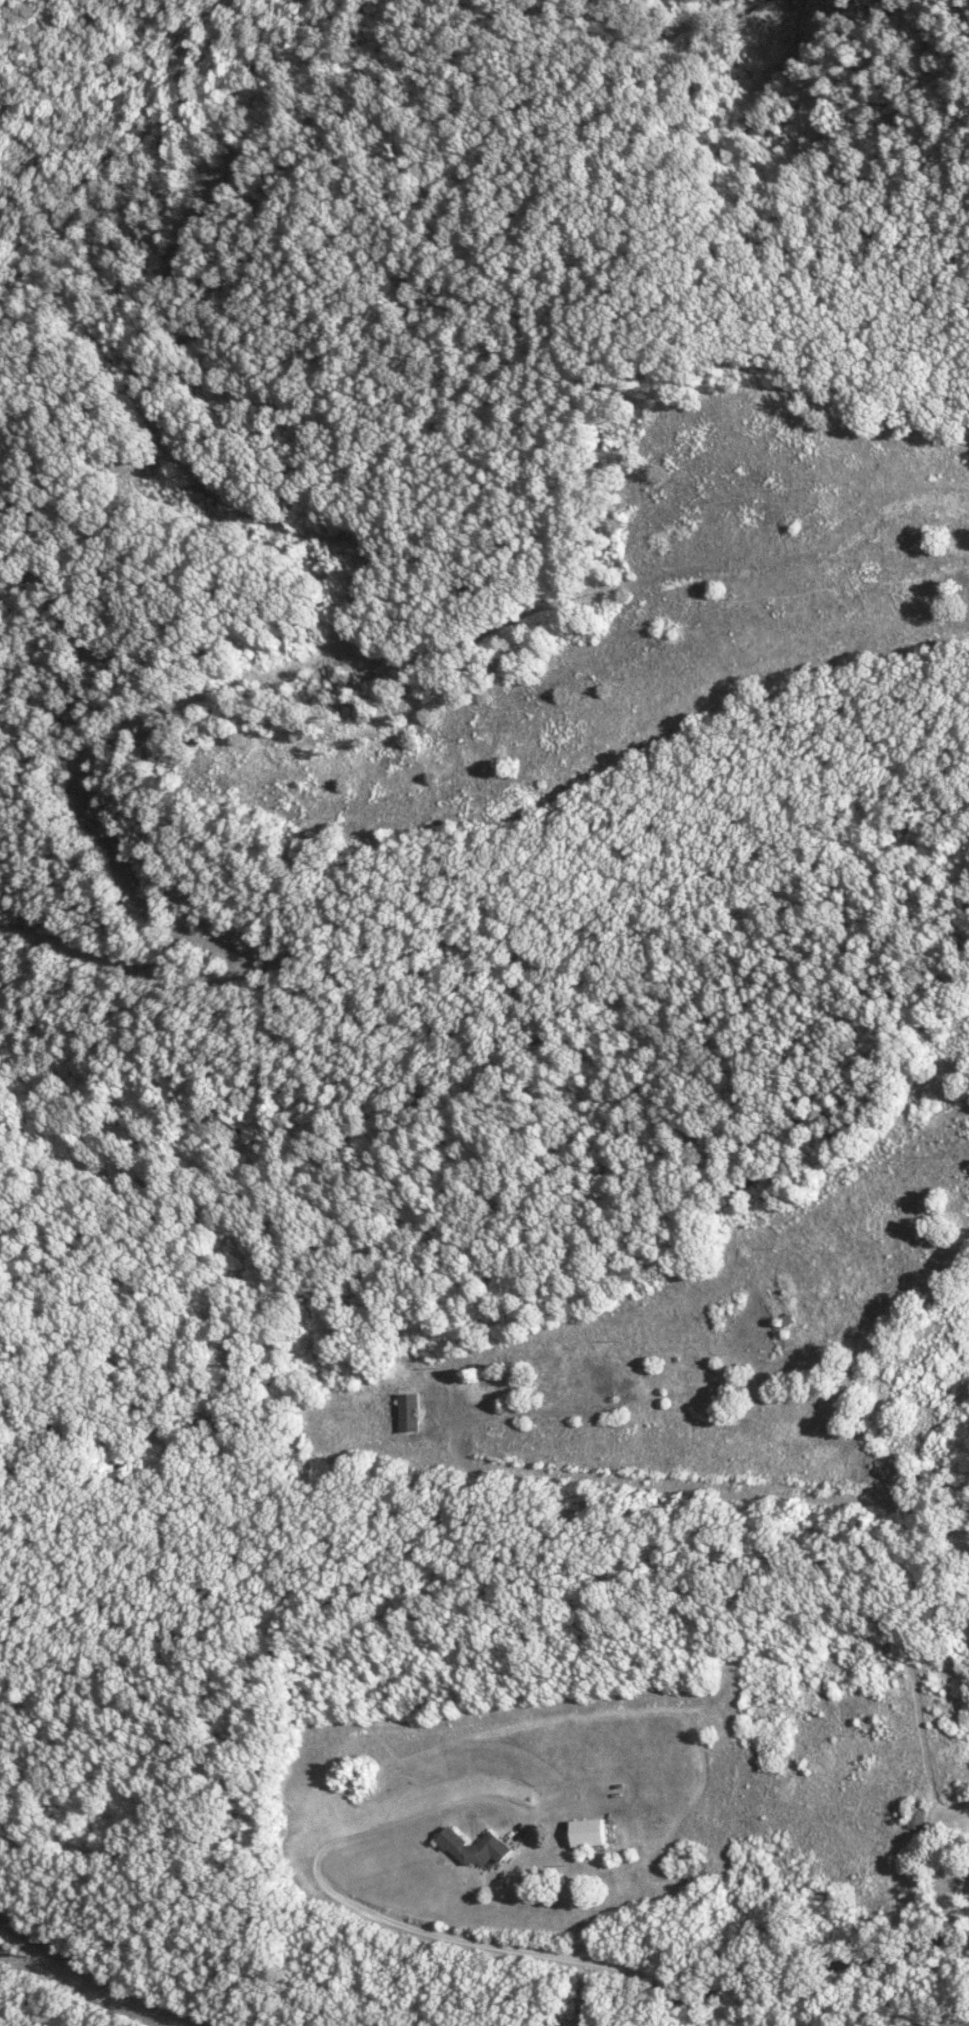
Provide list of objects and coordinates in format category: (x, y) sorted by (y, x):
building: (408, 1412)
road: (850, 1432)
building: (916, 1814)
building: (589, 1830)
building: (475, 1847)
road: (591, 1880)
road: (763, 1979)
road: (100, 1981)

